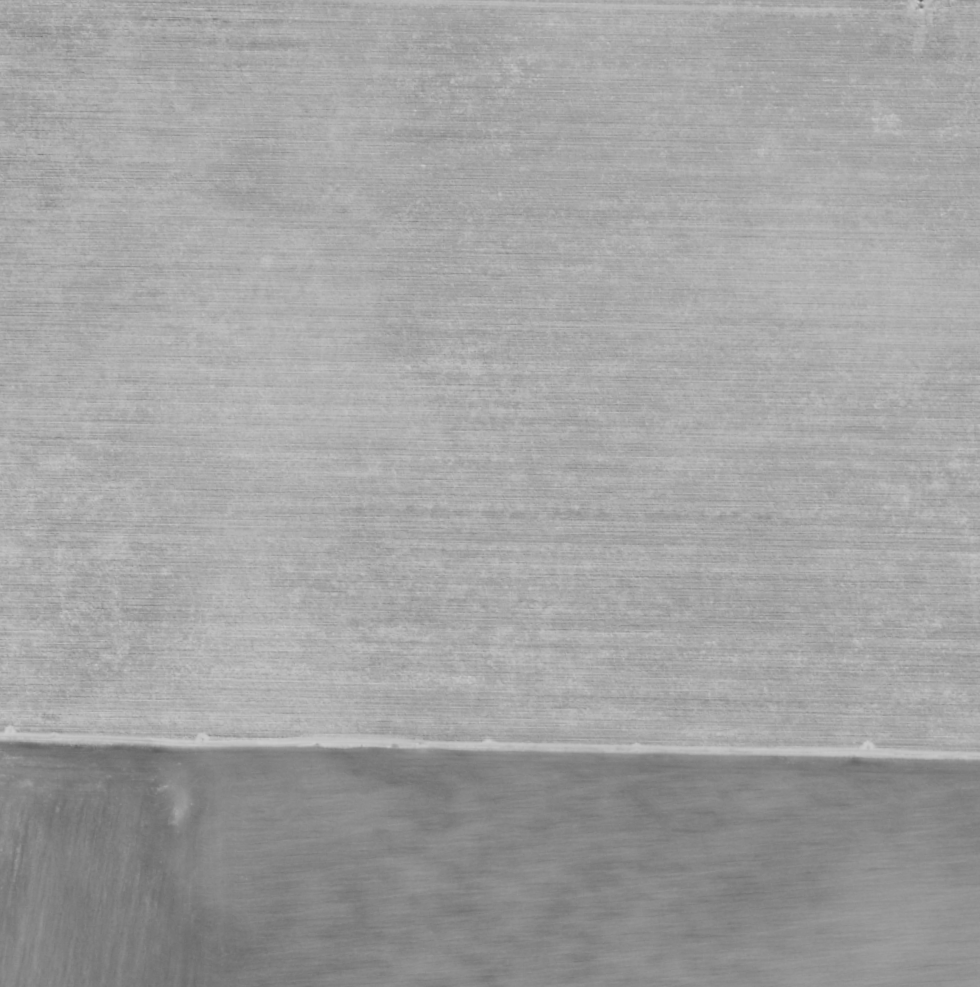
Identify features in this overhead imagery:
road: (490, 737)

